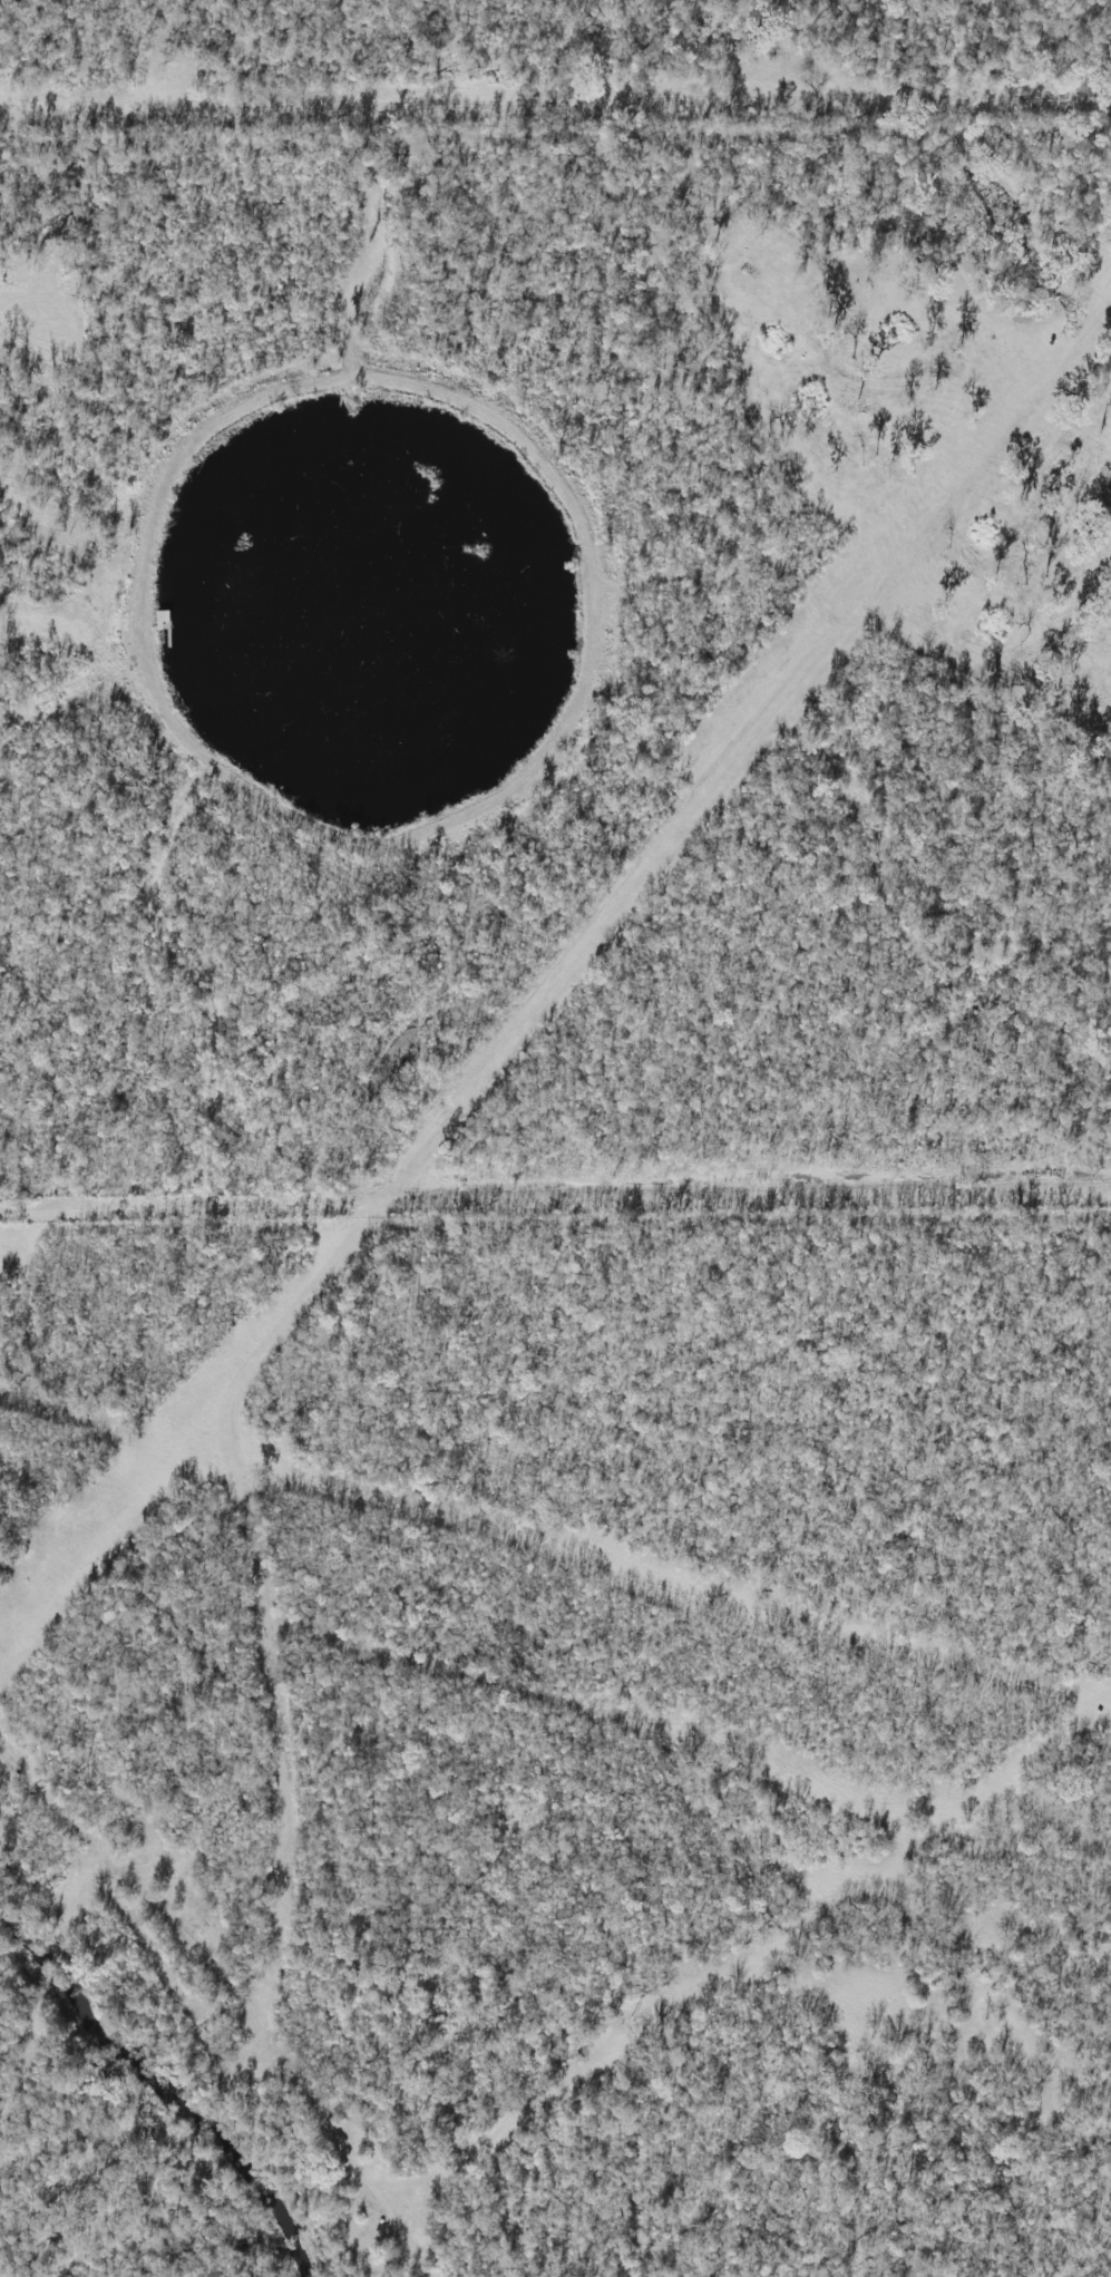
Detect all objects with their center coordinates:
river: (155, 2082)

